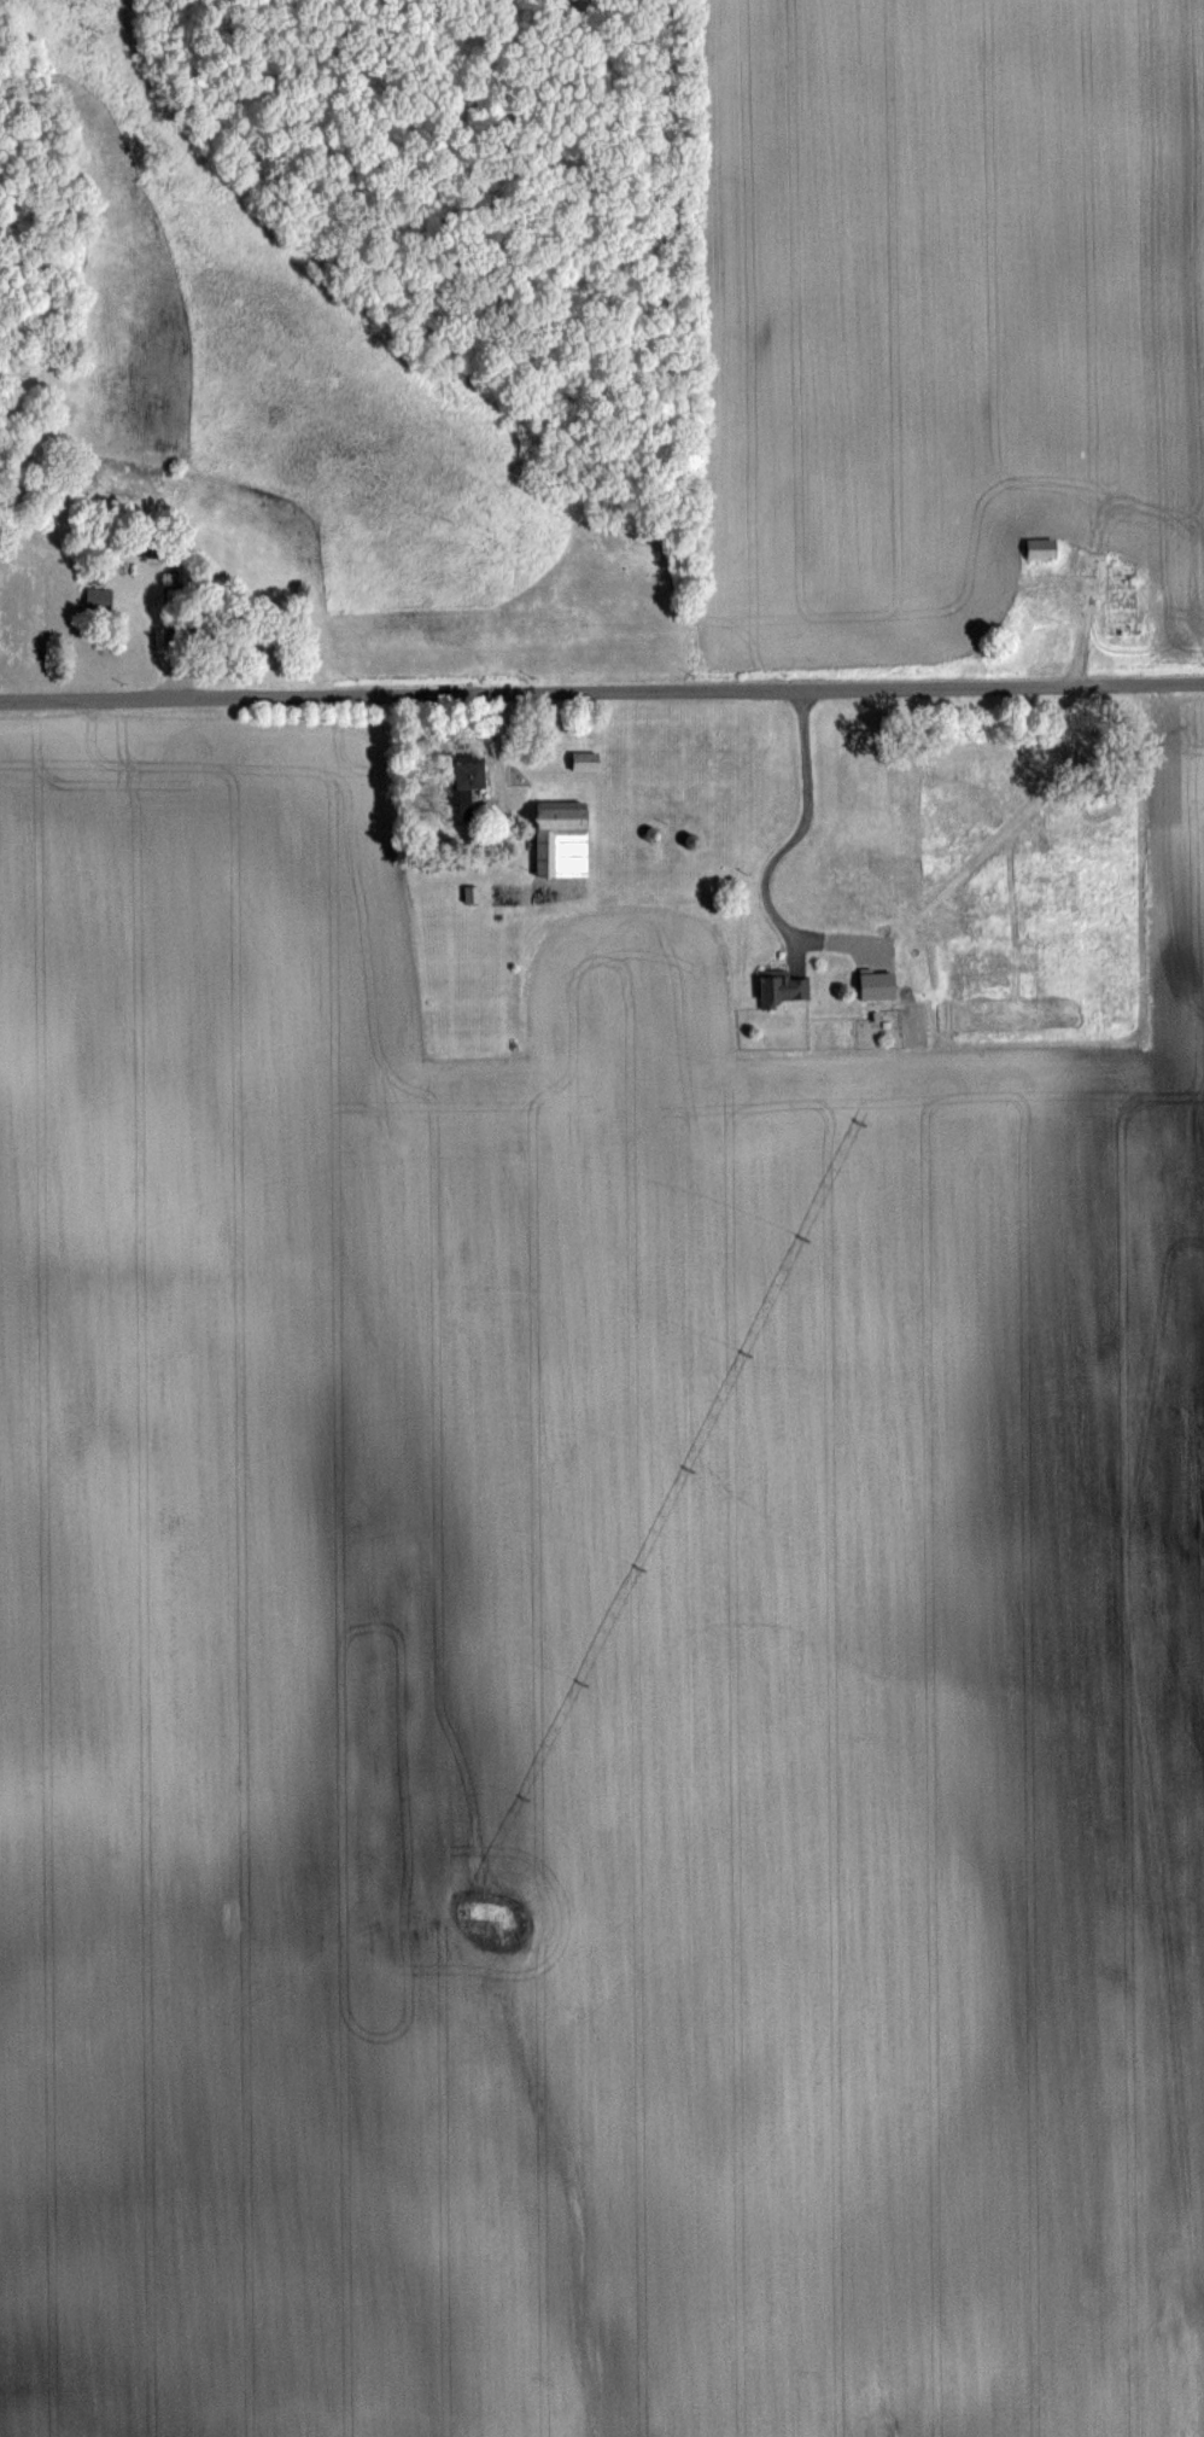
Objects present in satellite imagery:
building: (1047, 547)
building: (101, 599)
road: (601, 690)
building: (590, 759)
building: (471, 777)
building: (565, 839)
road: (782, 850)

